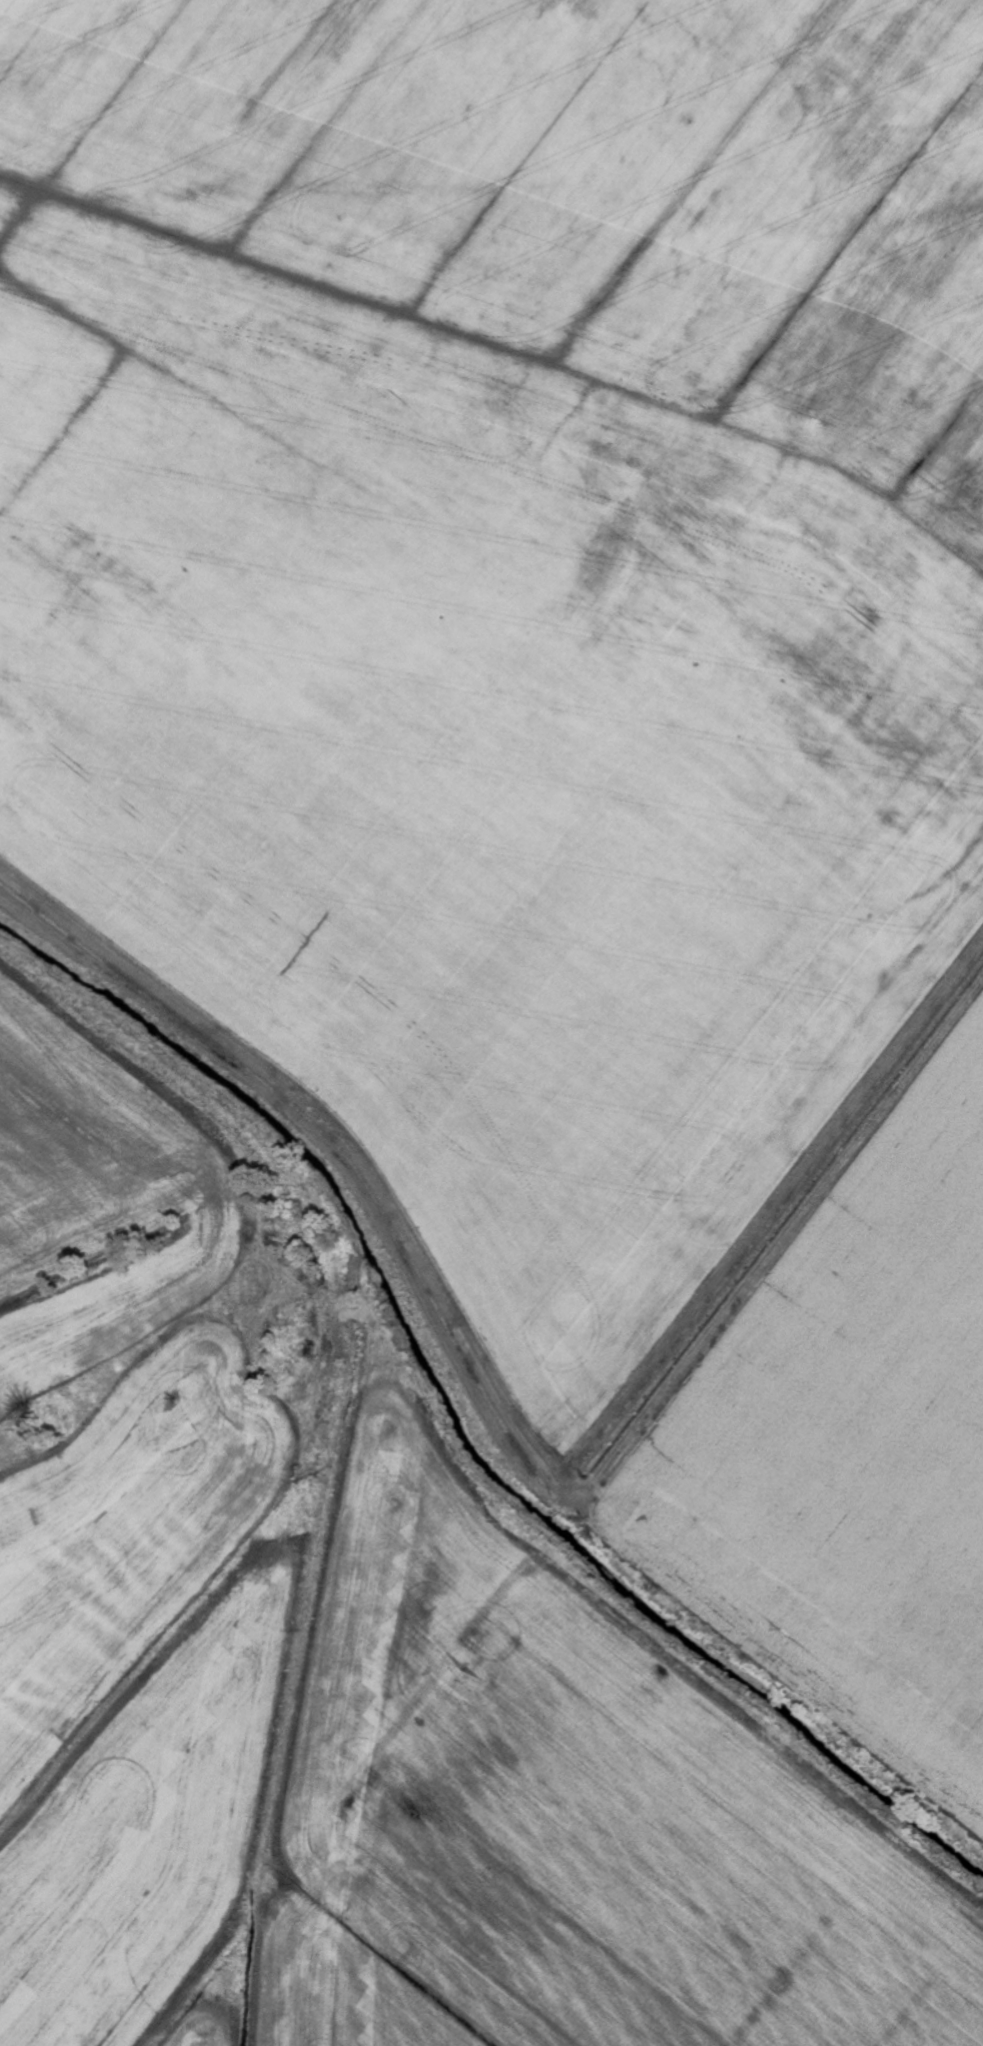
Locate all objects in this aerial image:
road: (594, 1484)

